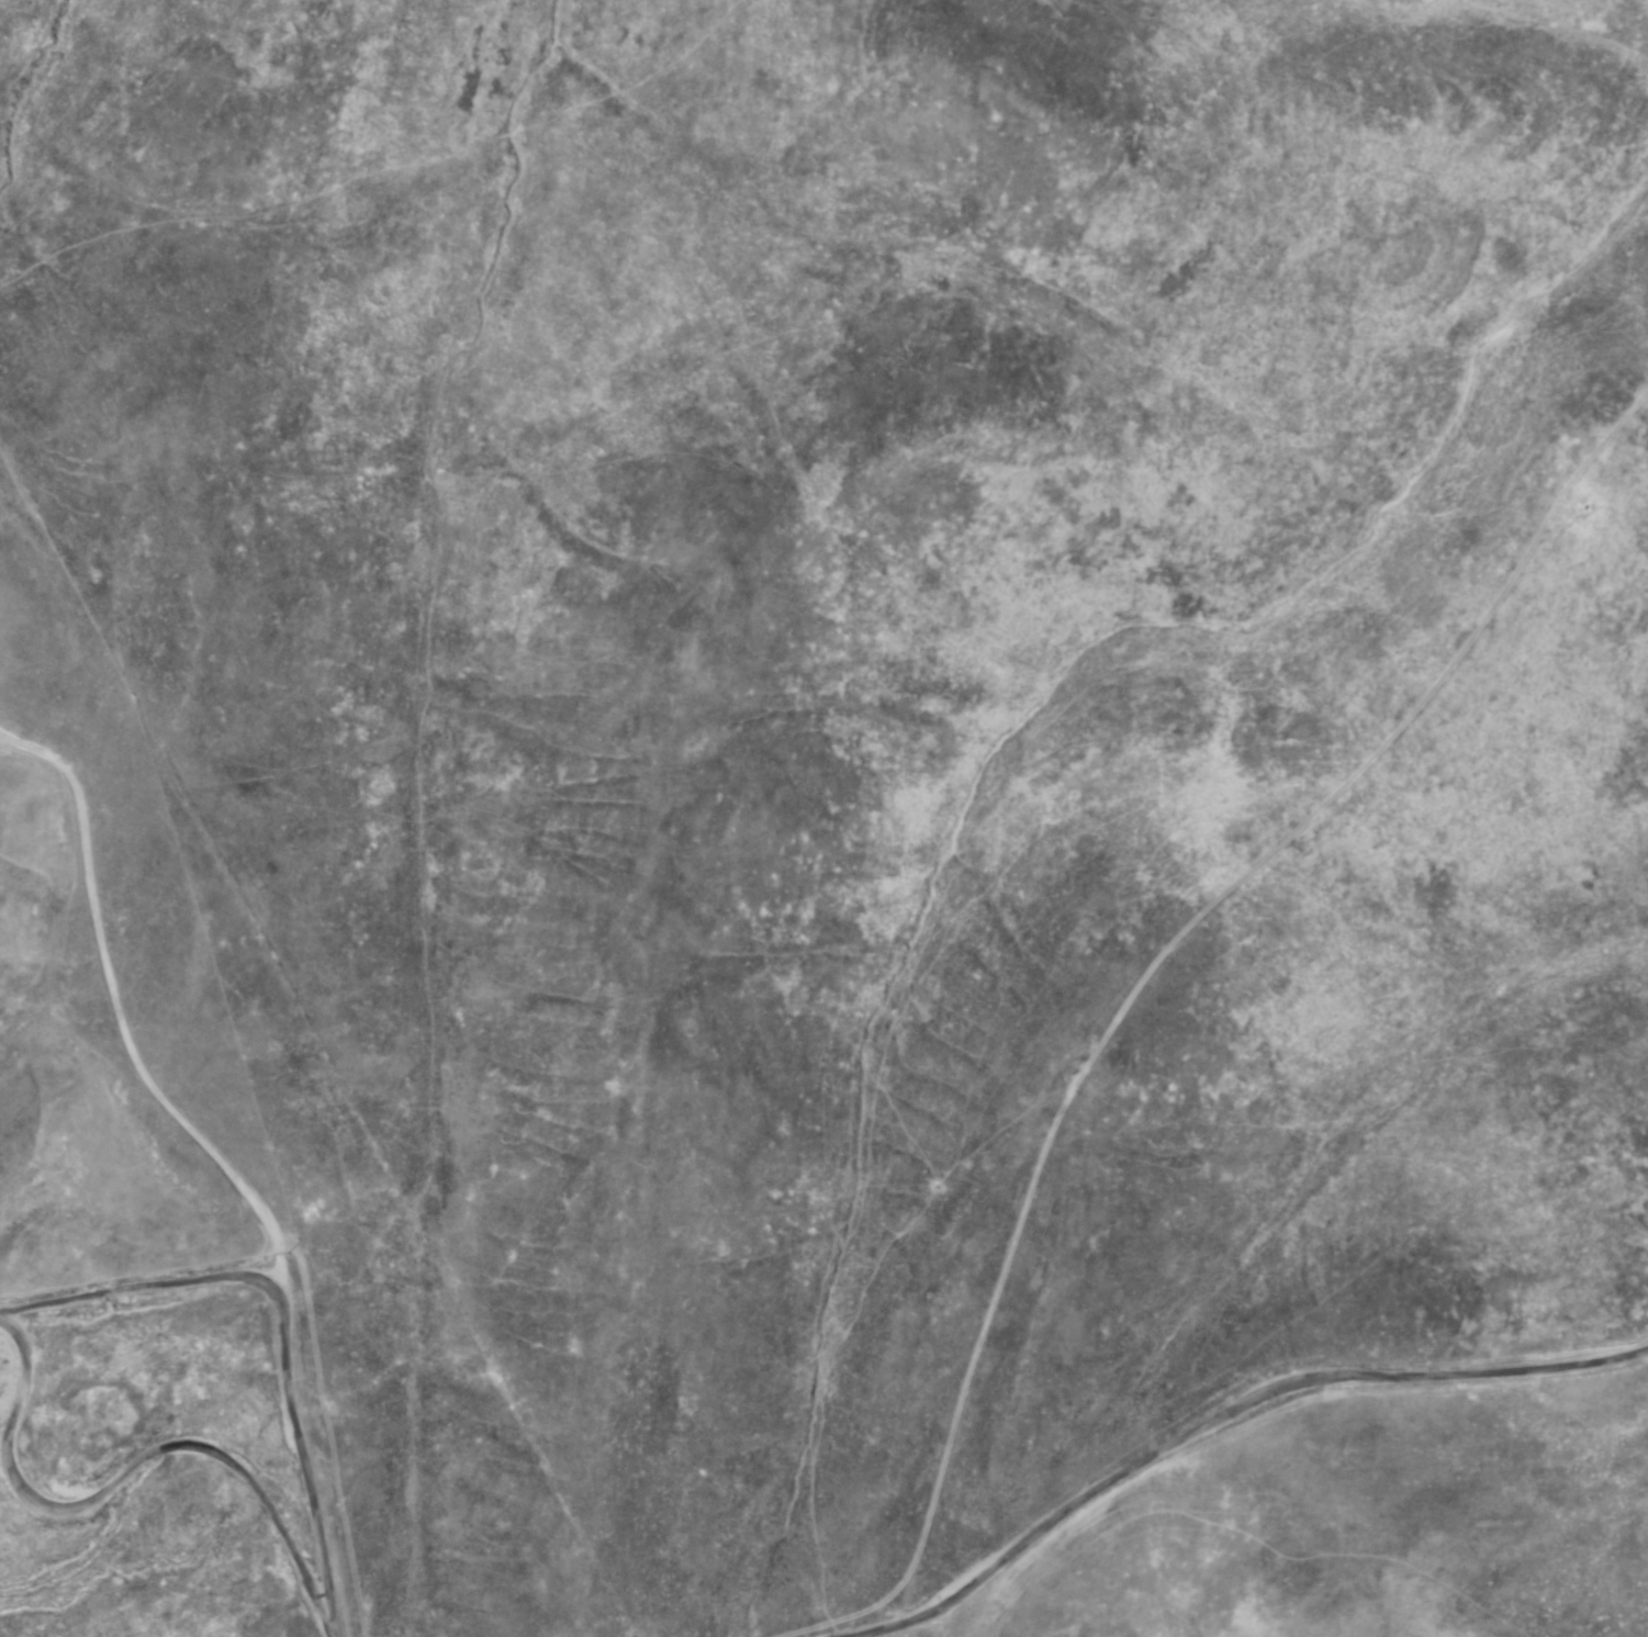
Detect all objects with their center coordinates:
road: (206, 1150)
road: (1214, 1415)
road: (131, 1472)

